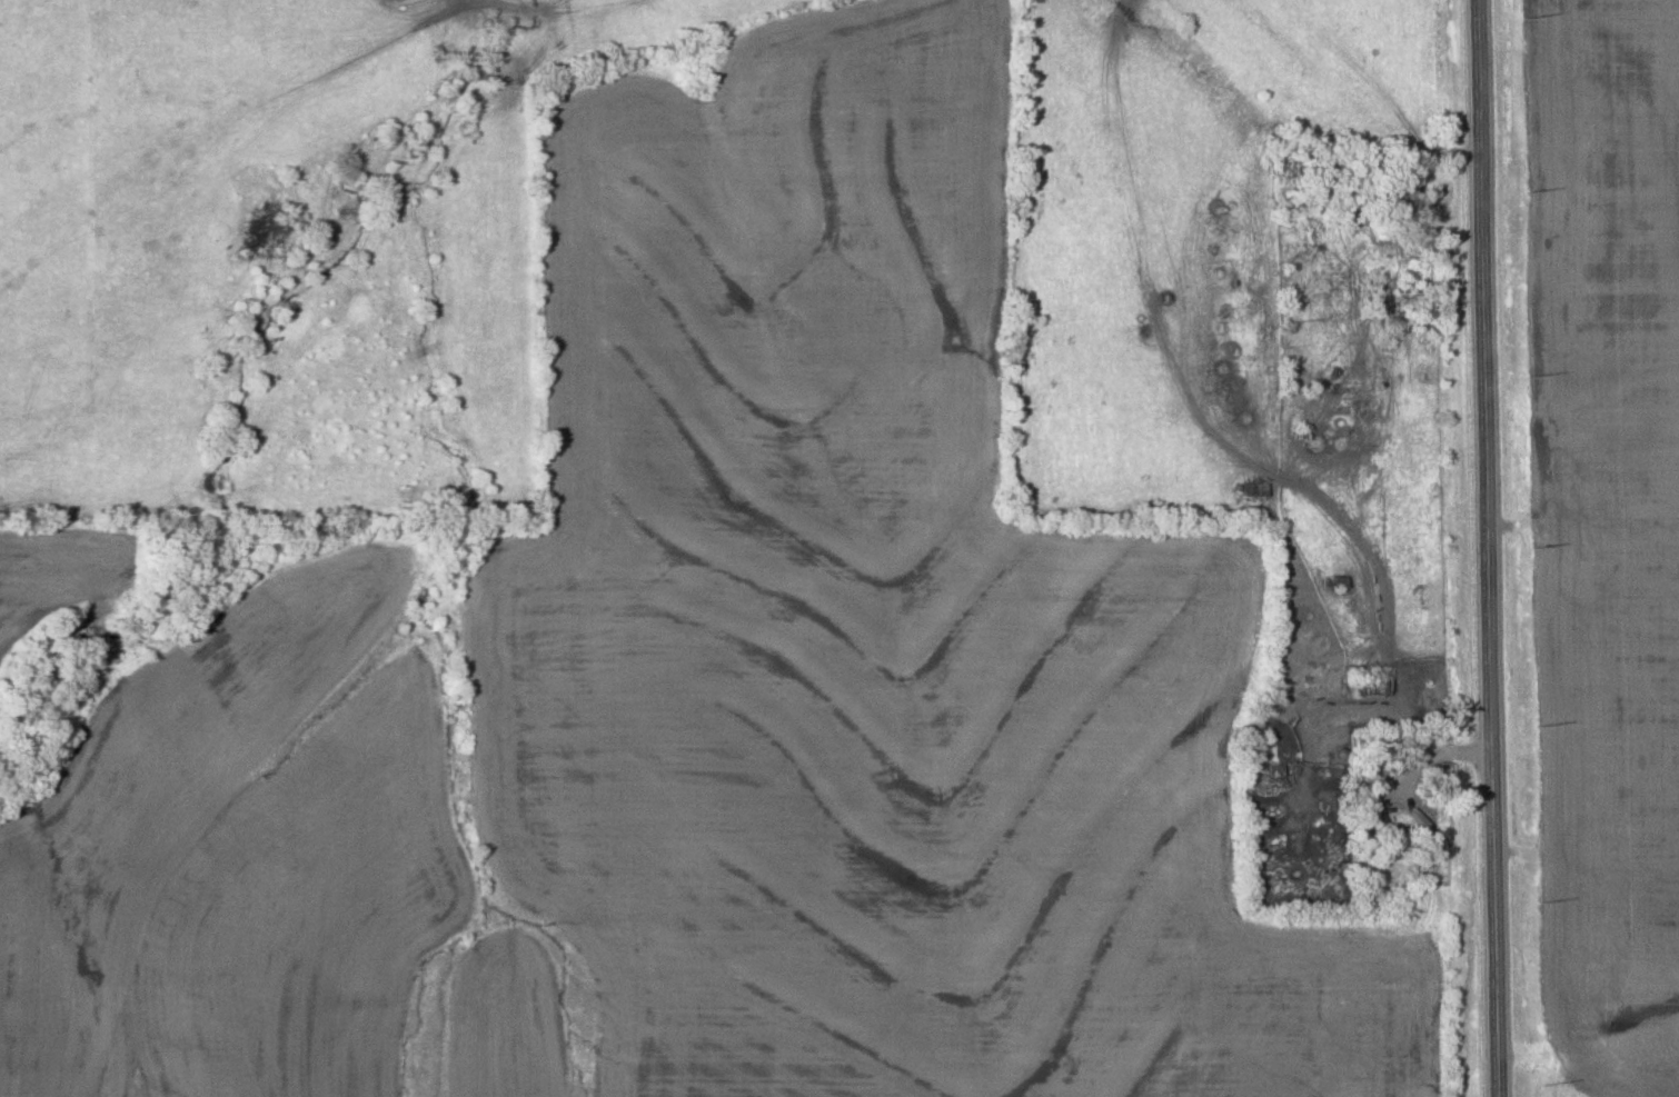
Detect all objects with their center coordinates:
building: (1253, 490)
road: (1486, 548)
building: (1333, 582)
building: (1371, 685)

